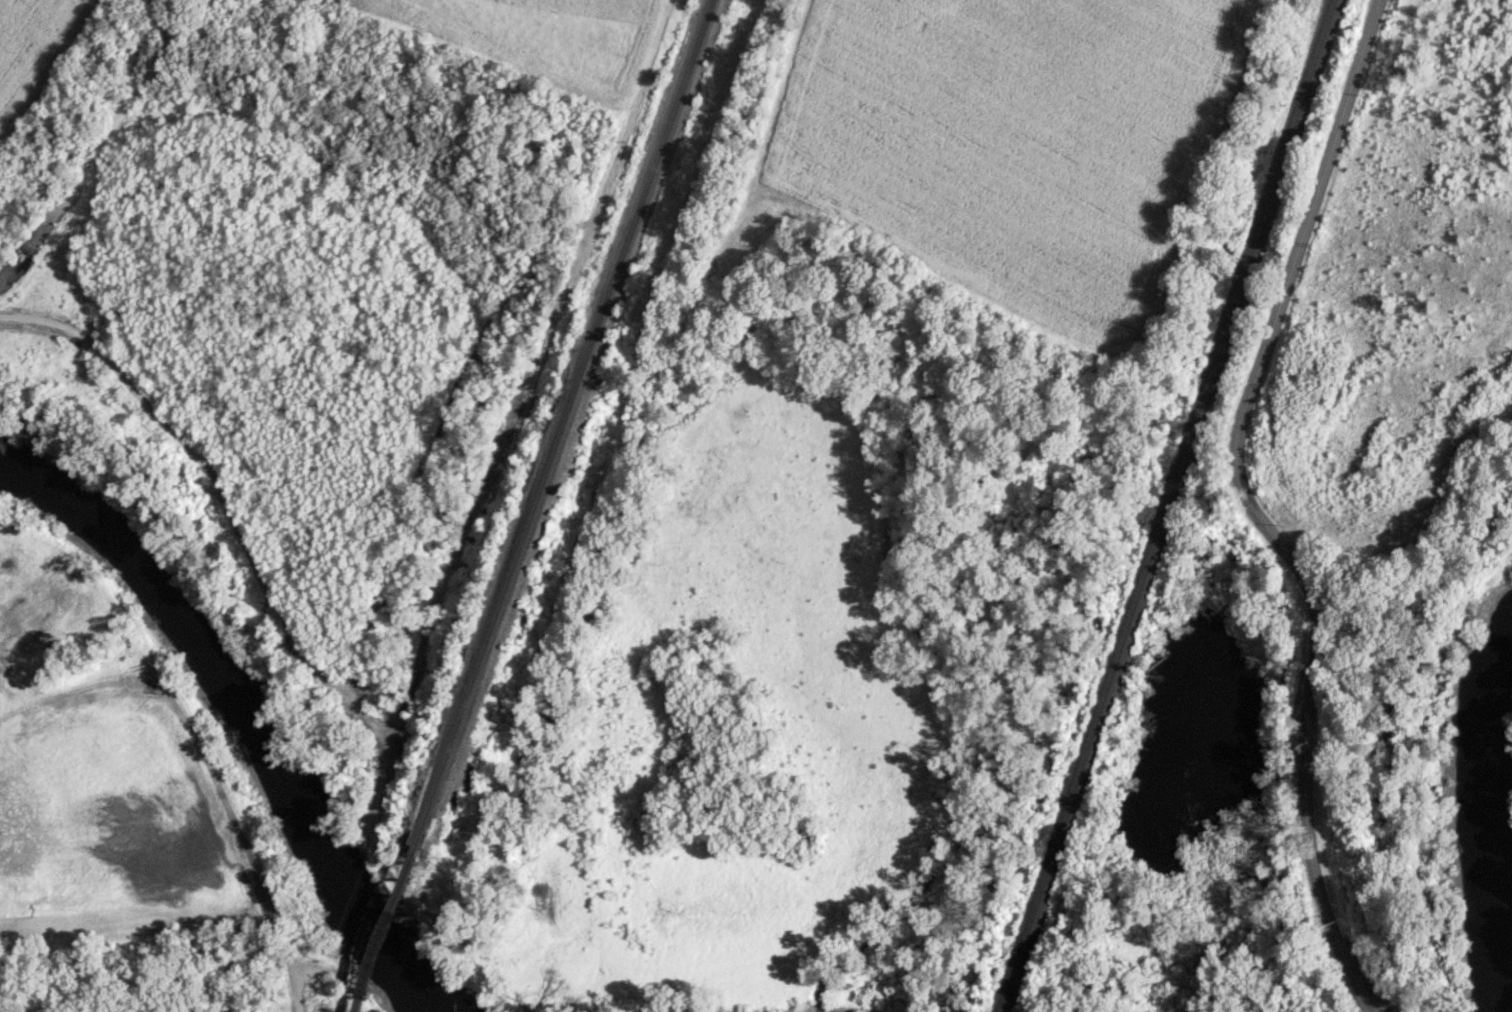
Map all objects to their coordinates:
railway: (559, 421)
railway: (1165, 505)
road: (1253, 510)
railway: (379, 927)
railway: (997, 1011)

